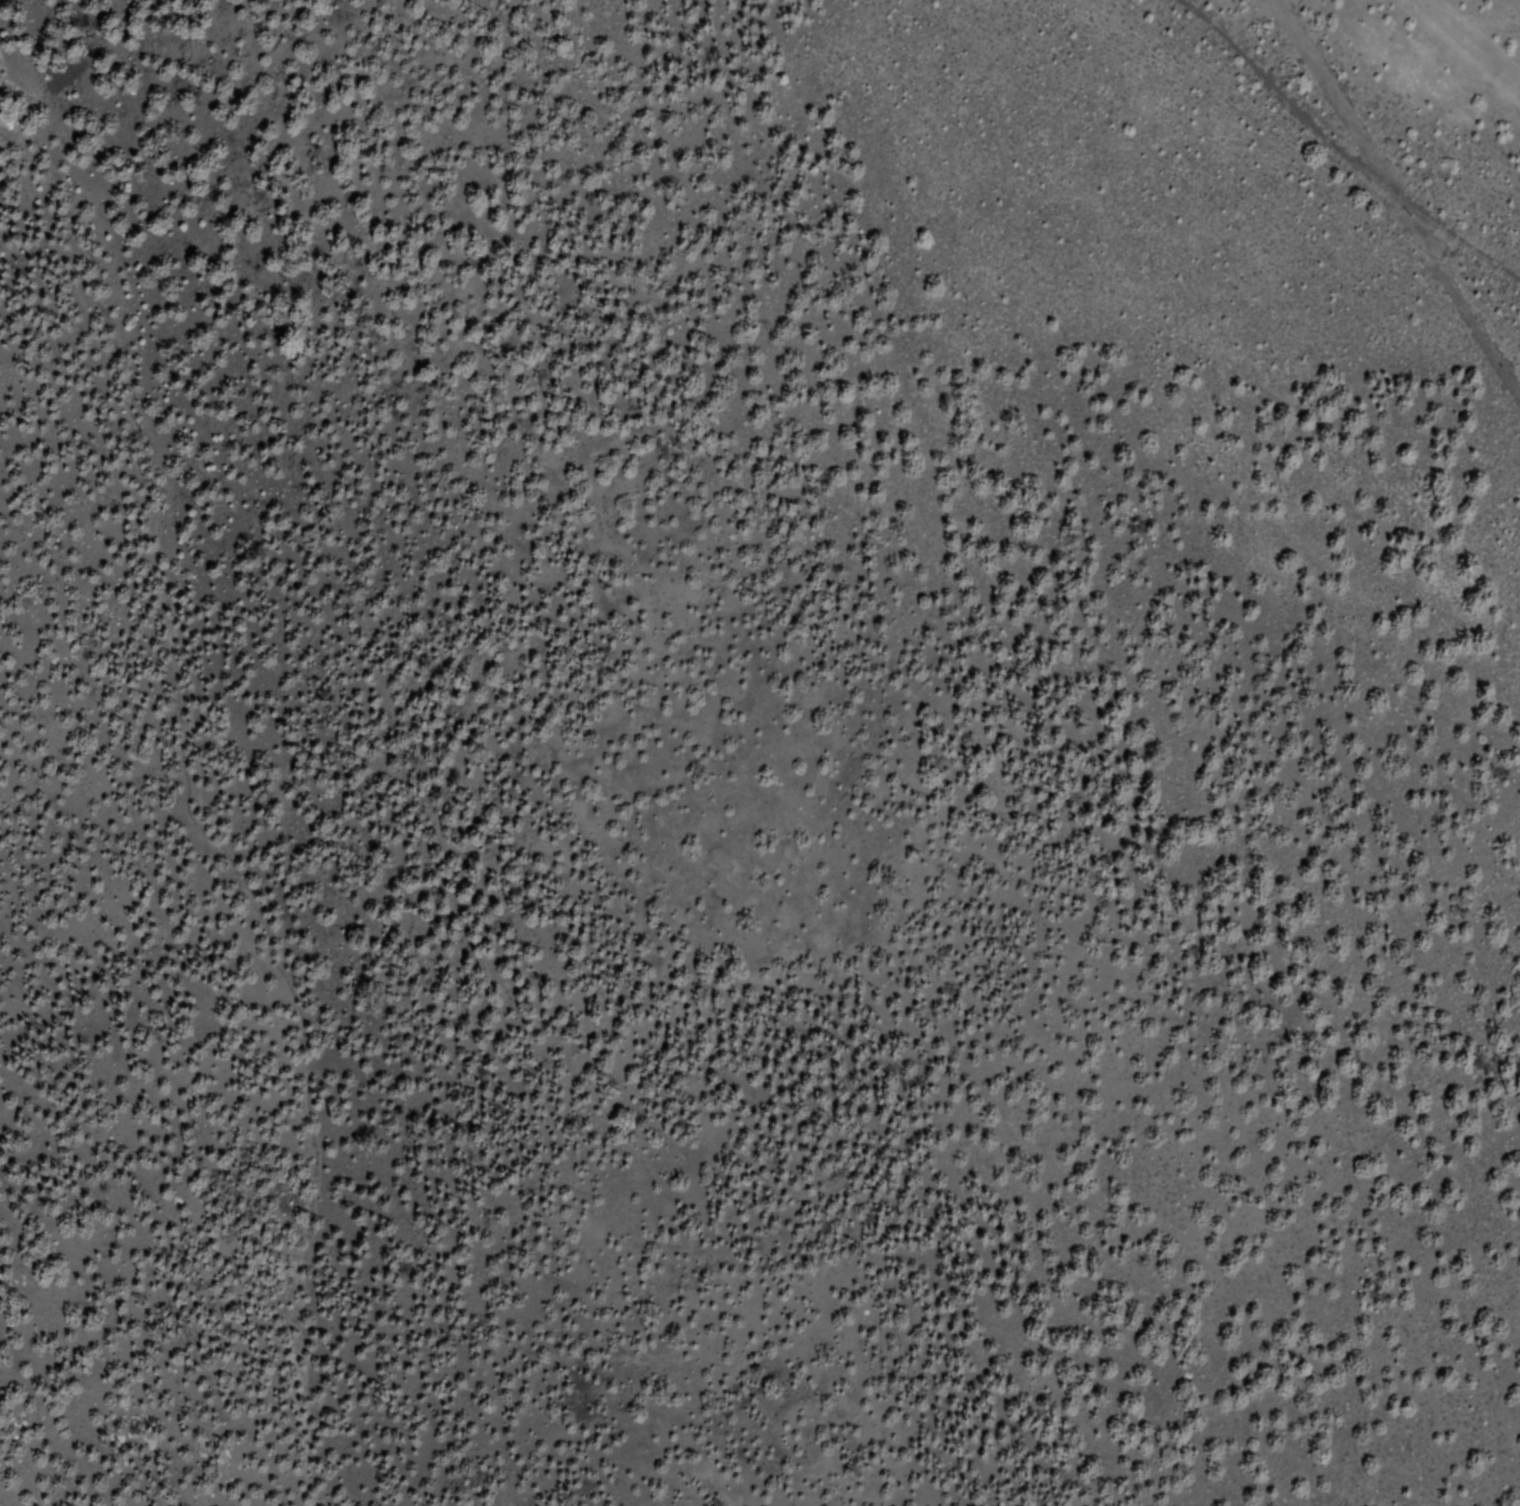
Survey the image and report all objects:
road: (1340, 149)

